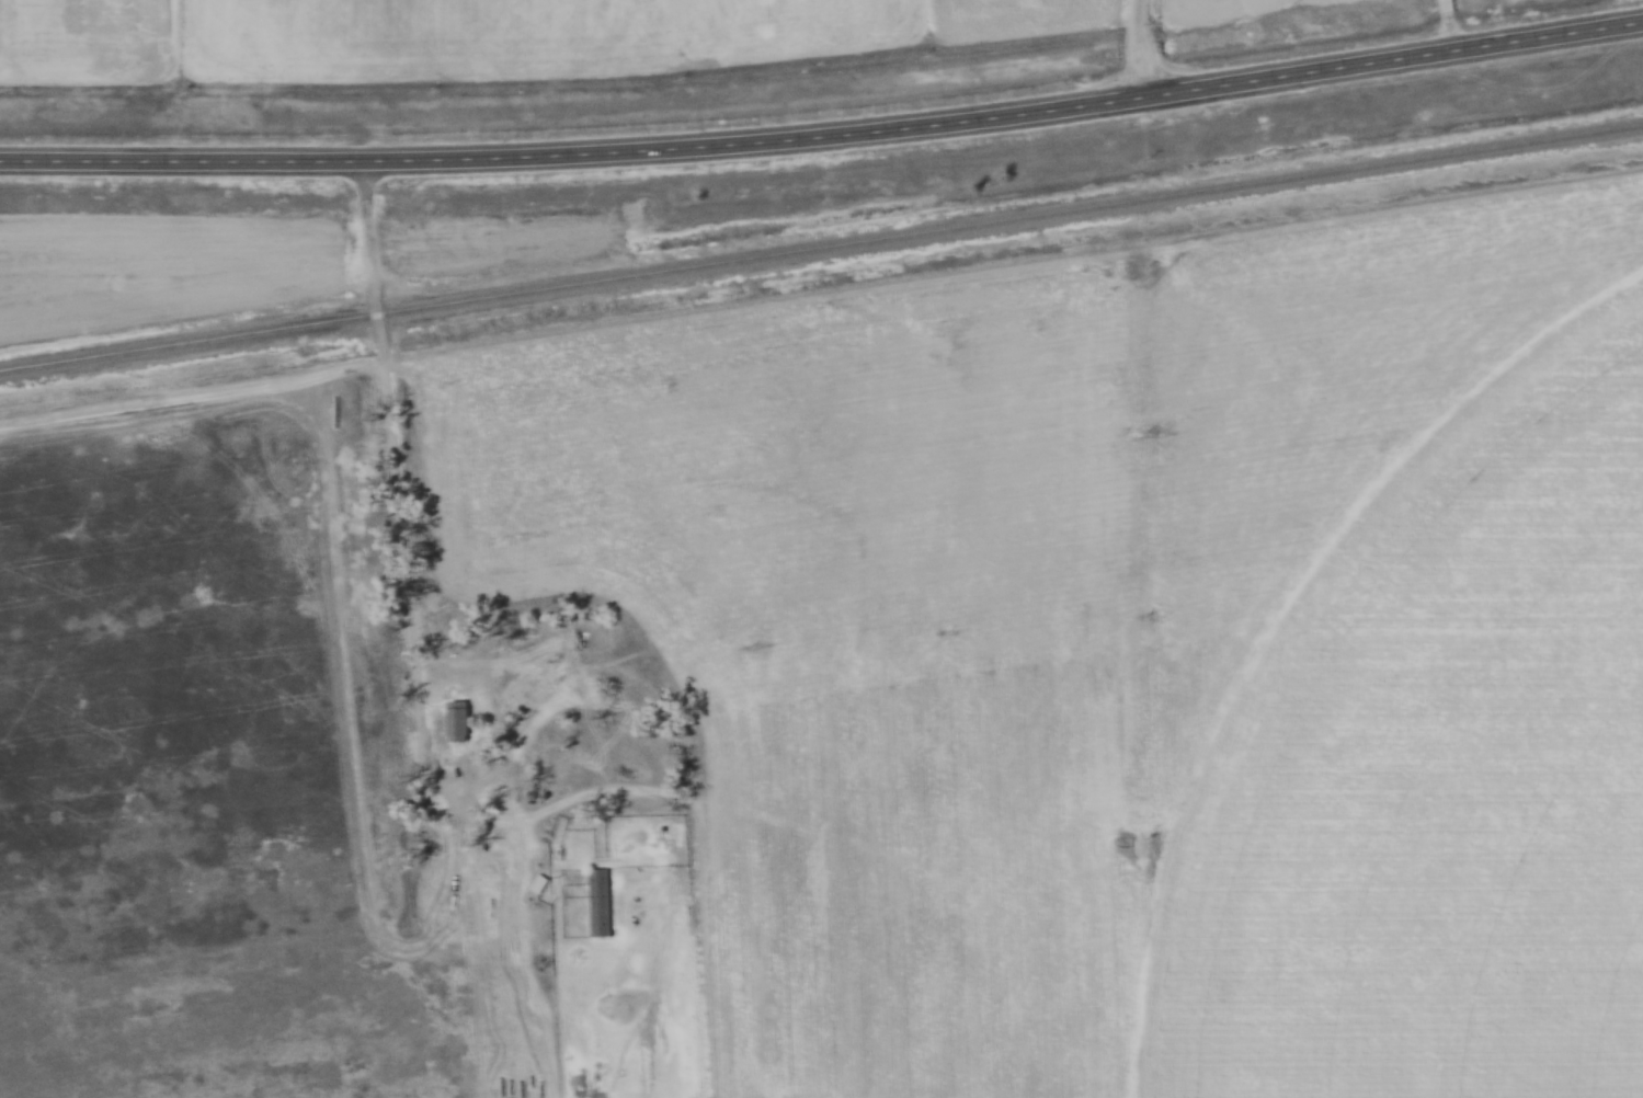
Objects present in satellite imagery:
road: (1145, 48)
road: (824, 136)
railway: (821, 248)
road: (396, 464)
building: (458, 719)
building: (602, 903)

